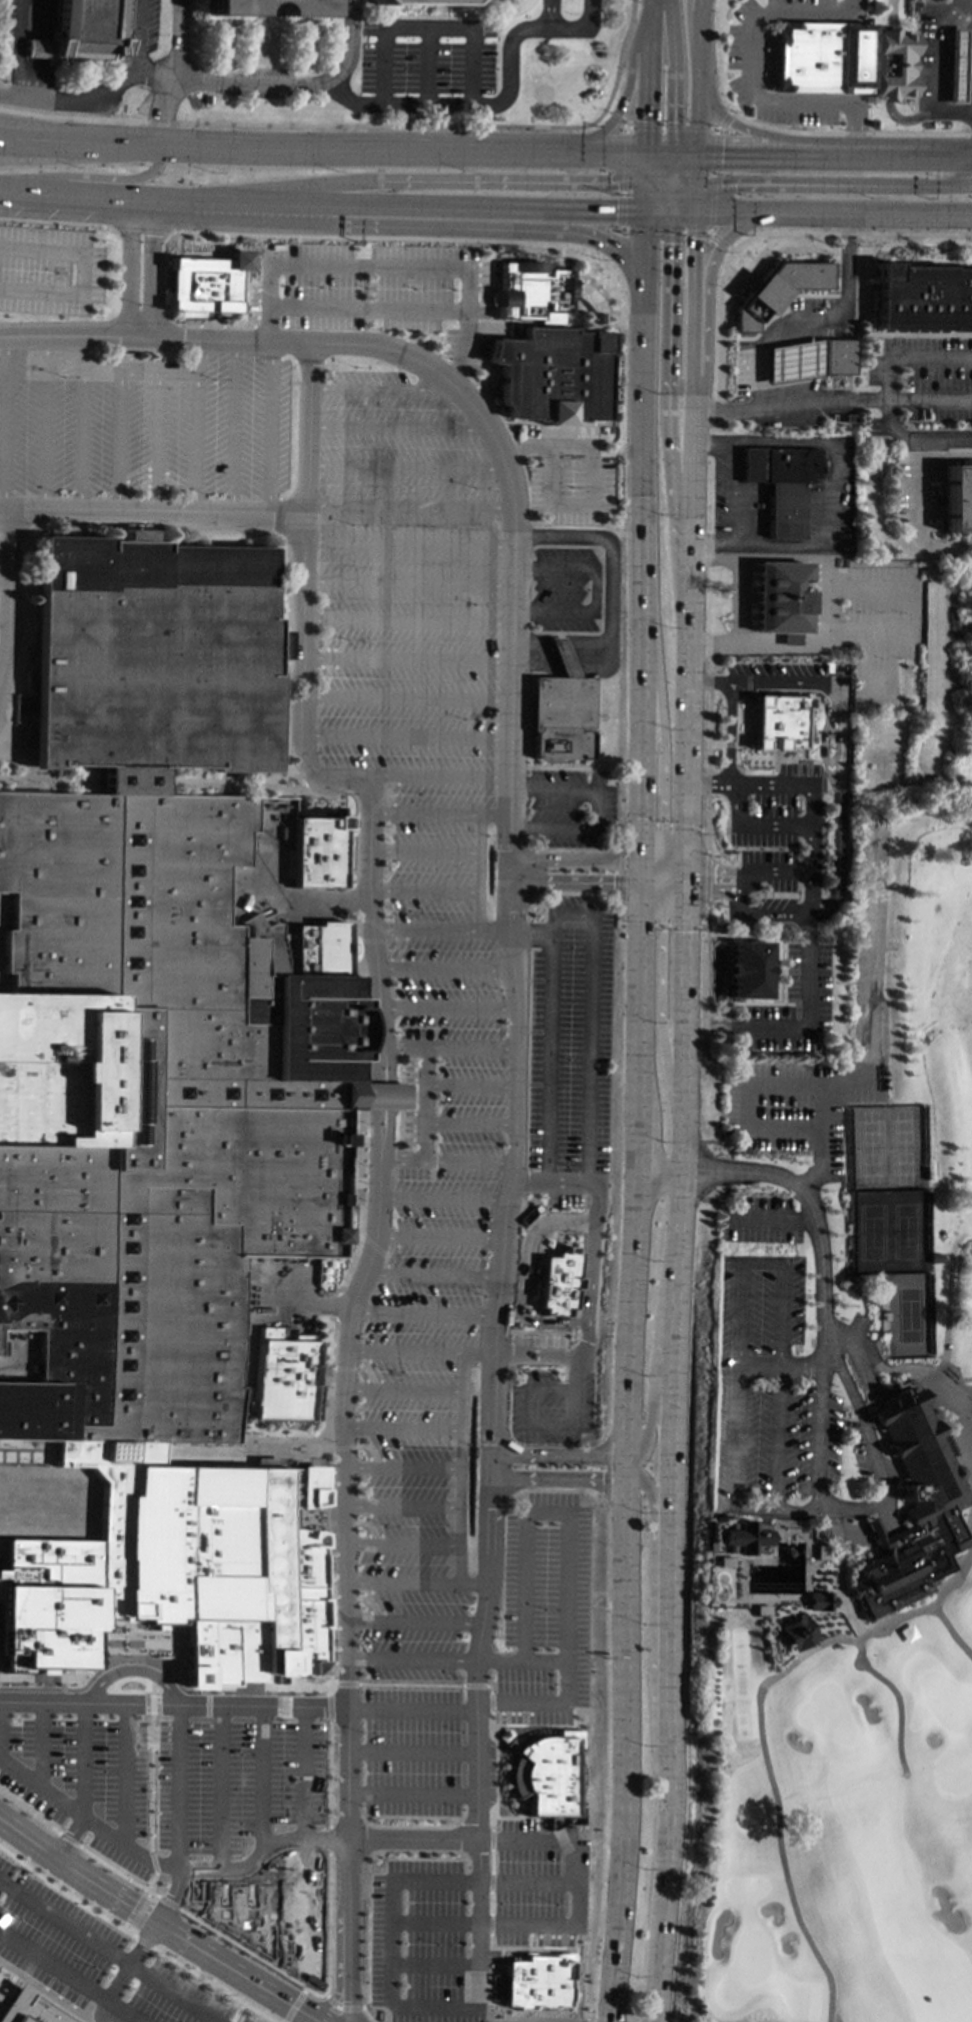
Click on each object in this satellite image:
building: (420, 2)
road: (697, 2)
road: (698, 2)
building: (297, 8)
road: (548, 15)
road: (648, 26)
building: (83, 28)
road: (345, 45)
road: (17, 47)
building: (821, 58)
building: (893, 64)
building: (953, 65)
road: (696, 66)
road: (753, 68)
road: (673, 76)
road: (613, 86)
road: (624, 95)
road: (90, 101)
road: (381, 102)
road: (647, 102)
road: (165, 114)
traffic signals: (616, 114)
road: (71, 116)
road: (614, 118)
road: (722, 120)
traffic signals: (647, 121)
traffic signals: (673, 122)
road: (345, 125)
road: (670, 127)
road: (849, 132)
road: (765, 134)
road: (27, 140)
road: (696, 141)
road: (913, 142)
road: (854, 148)
road: (350, 150)
road: (659, 153)
road: (684, 154)
traffic signals: (721, 154)
road: (775, 154)
road: (913, 156)
road: (673, 159)
road: (685, 159)
road: (654, 162)
road: (647, 165)
road: (667, 168)
road: (695, 171)
road: (654, 174)
road: (961, 175)
road: (88, 176)
road: (623, 177)
road: (678, 178)
road: (713, 180)
road: (415, 181)
traffic signals: (614, 183)
road: (665, 183)
traffic signals: (729, 184)
road: (822, 185)
road: (961, 186)
road: (688, 189)
road: (646, 193)
road: (675, 193)
road: (64, 194)
road: (695, 199)
road: (688, 201)
road: (387, 203)
road: (657, 203)
road: (669, 203)
traffic signals: (616, 209)
road: (658, 210)
road: (682, 210)
road: (807, 211)
road: (946, 214)
road: (55, 222)
road: (645, 225)
road: (141, 229)
road: (441, 229)
road: (665, 231)
road: (768, 232)
road: (385, 238)
traffic signals: (695, 238)
road: (721, 240)
road: (612, 243)
traffic signals: (672, 243)
traffic signals: (605, 244)
traffic signals: (718, 247)
road: (127, 267)
road: (388, 267)
road: (149, 269)
parking lot: (49, 271)
road: (79, 272)
road: (244, 276)
building: (202, 285)
parking lot: (375, 290)
building: (532, 290)
building: (776, 290)
road: (670, 291)
road: (707, 293)
building: (923, 298)
road: (367, 309)
road: (693, 310)
road: (814, 320)
road: (62, 335)
road: (642, 335)
road: (364, 346)
road: (429, 348)
road: (402, 353)
road: (254, 354)
building: (837, 355)
road: (908, 358)
road: (308, 360)
road: (360, 361)
building: (792, 361)
road: (459, 368)
road: (138, 371)
building: (553, 374)
road: (474, 381)
road: (384, 388)
road: (680, 392)
road: (668, 395)
road: (486, 396)
road: (833, 400)
road: (3, 421)
road: (43, 421)
road: (504, 421)
road: (80, 422)
parking lot: (144, 425)
road: (195, 425)
road: (298, 426)
road: (233, 427)
road: (270, 427)
road: (400, 428)
parking lot: (534, 430)
road: (558, 431)
parking lot: (588, 432)
road: (916, 439)
road: (117, 440)
road: (156, 441)
road: (518, 449)
road: (925, 449)
road: (518, 450)
road: (408, 467)
road: (136, 469)
road: (526, 473)
road: (730, 480)
road: (166, 481)
building: (781, 483)
road: (136, 486)
parking lot: (574, 488)
road: (673, 490)
road: (833, 493)
road: (592, 496)
building: (957, 498)
road: (916, 499)
road: (412, 506)
road: (153, 510)
road: (277, 516)
road: (689, 527)
building: (133, 535)
road: (3, 543)
road: (411, 543)
road: (306, 544)
road: (612, 568)
road: (3, 583)
road: (410, 583)
road: (6, 588)
parking lot: (565, 589)
road: (595, 590)
building: (778, 598)
road: (823, 605)
road: (3, 621)
road: (409, 621)
road: (887, 637)
road: (641, 645)
road: (534, 656)
road: (562, 657)
road: (1, 659)
road: (409, 660)
road: (912, 666)
road: (513, 694)
road: (408, 700)
building: (561, 710)
building: (777, 721)
road: (662, 733)
road: (729, 733)
road: (287, 734)
road: (407, 737)
road: (843, 740)
road: (708, 749)
road: (686, 753)
road: (830, 764)
road: (436, 776)
road: (711, 783)
road: (392, 786)
road: (388, 803)
parking lot: (570, 807)
road: (596, 810)
road: (372, 811)
road: (441, 813)
traffic signals: (640, 818)
traffic signals: (663, 818)
road: (646, 824)
road: (810, 824)
road: (688, 827)
building: (319, 852)
road: (426, 853)
road: (575, 860)
road: (653, 861)
road: (675, 862)
road: (619, 863)
road: (696, 868)
road: (810, 869)
road: (480, 872)
road: (639, 872)
road: (648, 873)
road: (685, 874)
traffic signals: (713, 874)
road: (721, 874)
road: (673, 875)
road: (773, 875)
road: (696, 880)
road: (707, 880)
road: (574, 882)
traffic signals: (612, 883)
road: (648, 884)
road: (671, 885)
road: (426, 891)
road: (355, 899)
road: (278, 901)
road: (619, 908)
road: (753, 913)
road: (572, 915)
road: (637, 919)
road: (373, 924)
road: (679, 924)
road: (359, 928)
road: (440, 930)
traffic signals: (661, 931)
traffic signals: (684, 931)
road: (391, 934)
road: (531, 935)
road: (400, 939)
road: (374, 941)
road: (385, 958)
road: (396, 958)
parking lot: (420, 958)
road: (444, 968)
building: (748, 969)
road: (683, 972)
road: (705, 982)
road: (803, 999)
road: (660, 1007)
road: (448, 1008)
parking lot: (570, 1036)
road: (447, 1048)
road: (378, 1085)
road: (469, 1086)
road: (423, 1104)
building: (158, 1115)
road: (636, 1121)
road: (469, 1124)
park: (884, 1147)
road: (680, 1157)
road: (400, 1159)
road: (468, 1161)
road: (657, 1177)
road: (548, 1181)
parking lot: (562, 1198)
road: (442, 1199)
road: (772, 1221)
park: (886, 1232)
road: (439, 1238)
road: (757, 1264)
road: (593, 1268)
road: (502, 1270)
road: (433, 1275)
road: (526, 1275)
building: (559, 1281)
road: (820, 1312)
road: (426, 1313)
road: (736, 1314)
road: (778, 1314)
park: (909, 1316)
road: (663, 1339)
parking lot: (545, 1341)
road: (424, 1352)
road: (540, 1354)
road: (756, 1365)
road: (799, 1365)
road: (348, 1368)
road: (366, 1369)
road: (372, 1370)
road: (581, 1371)
building: (288, 1379)
road: (408, 1390)
parking lot: (557, 1407)
road: (631, 1408)
road: (861, 1419)
road: (537, 1425)
road: (409, 1427)
road: (777, 1437)
road: (370, 1446)
road: (351, 1447)
road: (338, 1448)
road: (564, 1455)
road: (384, 1457)
road: (634, 1461)
road: (468, 1468)
road: (630, 1468)
road: (410, 1469)
road: (634, 1473)
road: (564, 1478)
road: (733, 1484)
park: (837, 1486)
road: (409, 1505)
building: (912, 1509)
road: (349, 1522)
road: (370, 1523)
road: (377, 1524)
road: (335, 1526)
building: (747, 1536)
road: (575, 1538)
road: (409, 1544)
road: (422, 1582)
road: (369, 1599)
building: (819, 1600)
road: (377, 1602)
road: (351, 1604)
road: (338, 1611)
parking lot: (549, 1612)
road: (189, 1622)
road: (419, 1623)
road: (656, 1625)
road: (951, 1630)
building: (796, 1632)
road: (670, 1639)
road: (414, 1659)
road: (155, 1664)
road: (134, 1670)
road: (155, 1674)
road: (179, 1684)
road: (350, 1684)
road: (414, 1684)
road: (477, 1685)
road: (154, 1687)
road: (336, 1687)
road: (493, 1688)
road: (897, 1694)
road: (493, 1703)
road: (545, 1703)
road: (154, 1704)
road: (175, 1704)
road: (209, 1705)
road: (332, 1707)
road: (414, 1708)
road: (758, 1708)
road: (508, 1714)
road: (526, 1714)
road: (349, 1716)
road: (201, 1719)
road: (546, 1725)
road: (167, 1727)
road: (140, 1729)
road: (44, 1744)
road: (166, 1745)
road: (140, 1747)
road: (414, 1751)
road: (624, 1751)
parking lot: (413, 1752)
road: (478, 1756)
road: (85, 1760)
road: (303, 1772)
parking lot: (490, 1773)
building: (546, 1774)
road: (126, 1775)
road: (331, 1775)
road: (262, 1779)
parking lot: (166, 1782)
road: (179, 1785)
road: (219, 1786)
road: (413, 1794)
road: (151, 1805)
road: (491, 1828)
road: (70, 1836)
road: (330, 1840)
road: (199, 1868)
road: (79, 1870)
road: (523, 1880)
parking lot: (528, 1886)
road: (572, 1887)
road: (66, 1894)
road: (172, 1895)
road: (302, 1899)
building: (245, 1911)
road: (139, 1913)
road: (65, 1920)
road: (434, 1923)
road: (477, 1929)
road: (220, 1935)
road: (543, 1937)
road: (563, 1937)
road: (143, 1942)
road: (390, 1942)
parking lot: (422, 1945)
road: (542, 1948)
road: (132, 1960)
parking lot: (93, 1961)
road: (53, 1966)
road: (230, 1966)
road: (433, 1966)
building: (537, 1980)
road: (212, 1984)
road: (176, 1993)
road: (349, 1993)
road: (330, 1999)
road: (333, 1999)
building: (2, 2001)
road: (294, 2005)
building: (29, 2008)
road: (337, 2008)
road: (351, 2008)
road: (652, 2011)
road: (122, 2012)
road: (367, 2015)
road: (309, 2017)
traffic signals: (609, 2018)

